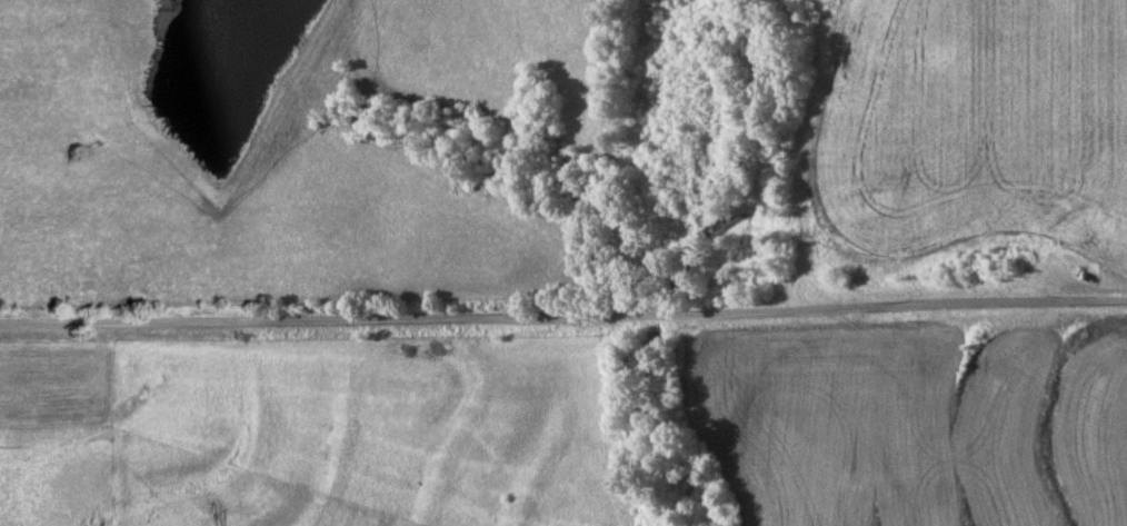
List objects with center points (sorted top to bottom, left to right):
road: (563, 314)

